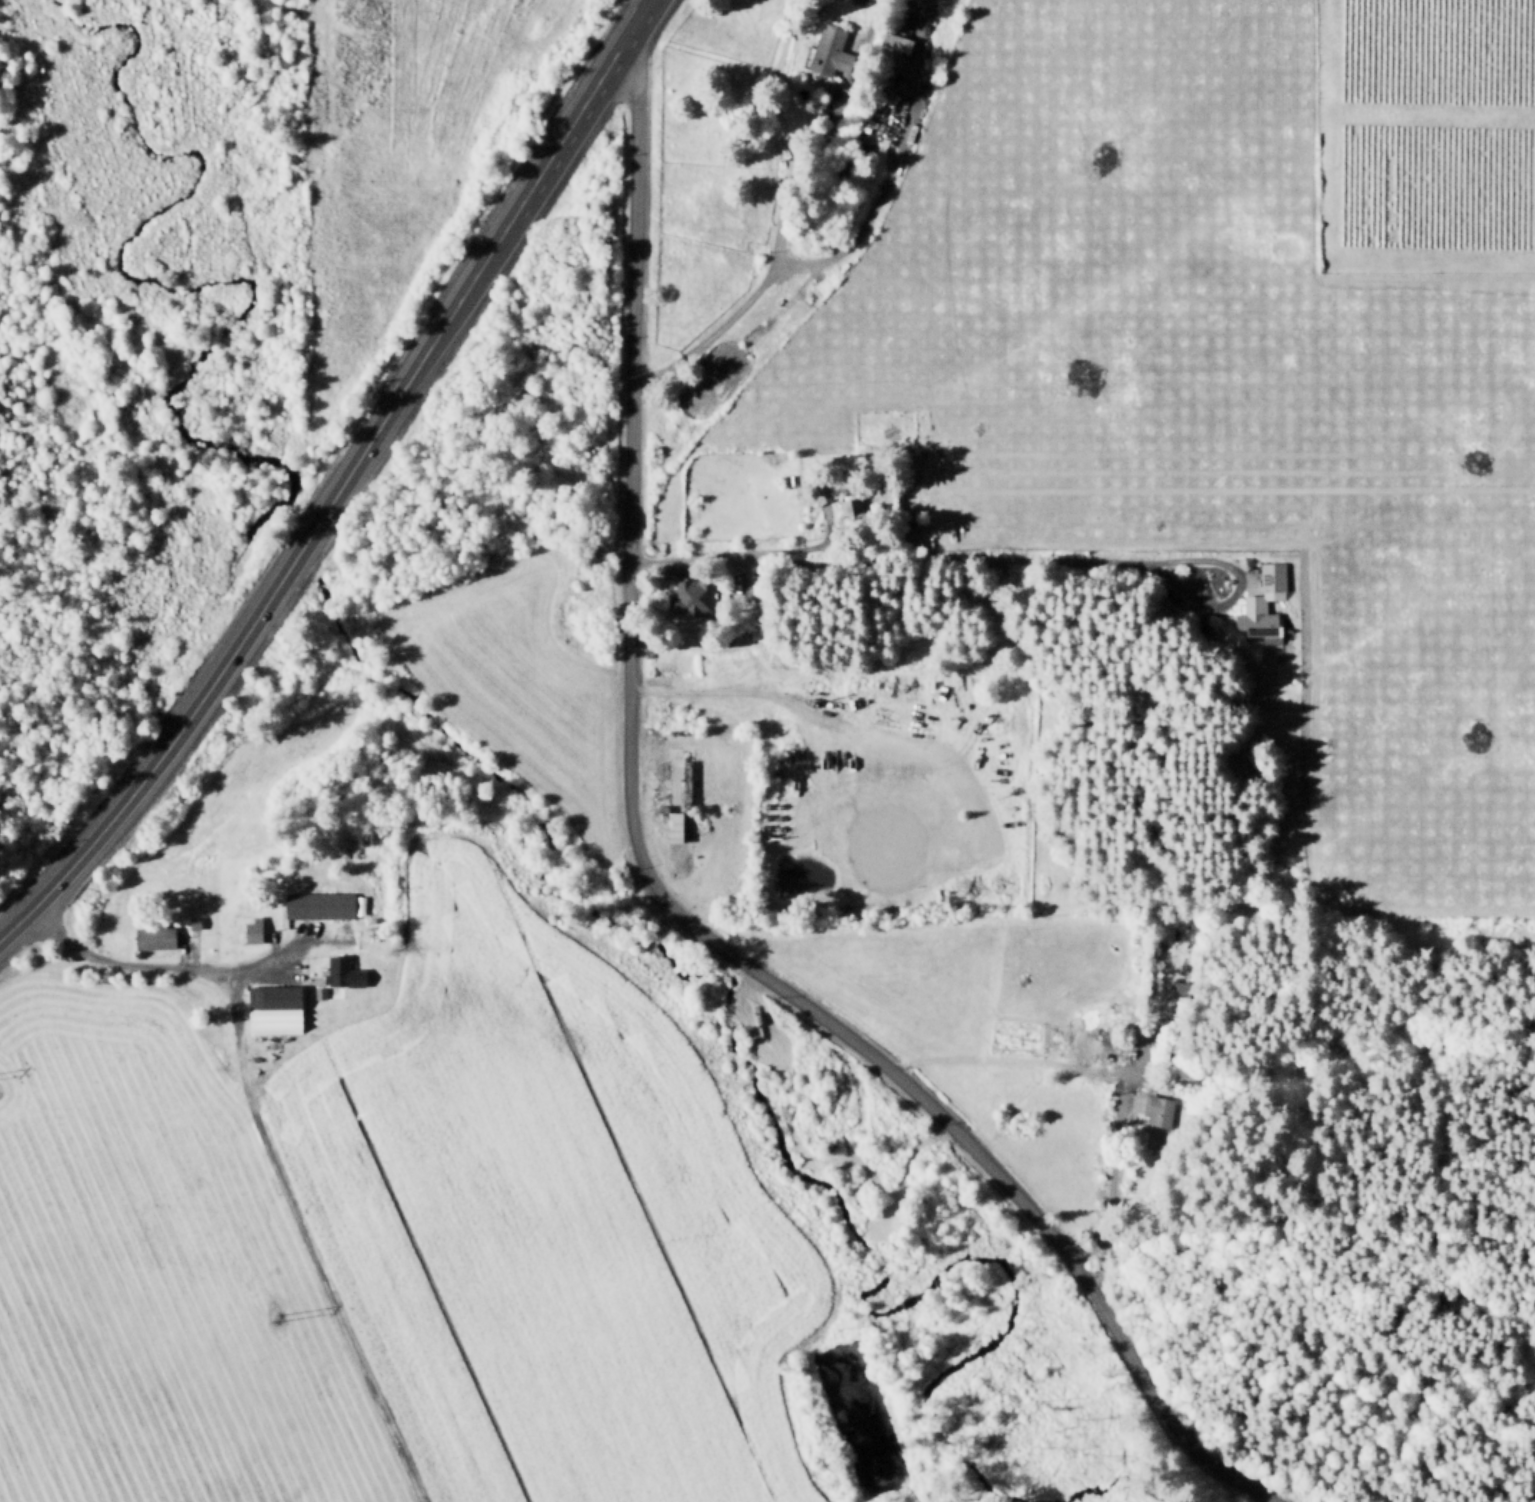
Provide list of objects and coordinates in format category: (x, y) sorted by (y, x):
road: (638, 7)
road: (642, 7)
building: (827, 45)
building: (893, 50)
crop: (1430, 50)
building: (890, 105)
crop: (402, 148)
road: (800, 180)
crop: (1428, 186)
road: (846, 243)
road: (469, 280)
crop: (1196, 404)
building: (908, 453)
road: (1217, 467)
building: (857, 503)
road: (909, 515)
road: (1211, 520)
building: (602, 545)
road: (1004, 555)
building: (695, 585)
building: (1264, 601)
building: (576, 612)
road: (702, 690)
crop: (511, 691)
road: (161, 751)
building: (674, 784)
building: (369, 854)
building: (316, 882)
road: (656, 890)
building: (319, 903)
building: (358, 906)
building: (194, 921)
building: (254, 928)
building: (154, 933)
road: (263, 967)
building: (344, 970)
building: (318, 991)
building: (274, 1005)
building: (281, 1051)
building: (215, 1068)
road: (1103, 1080)
road: (265, 1145)
crop: (536, 1221)
crop: (149, 1279)

